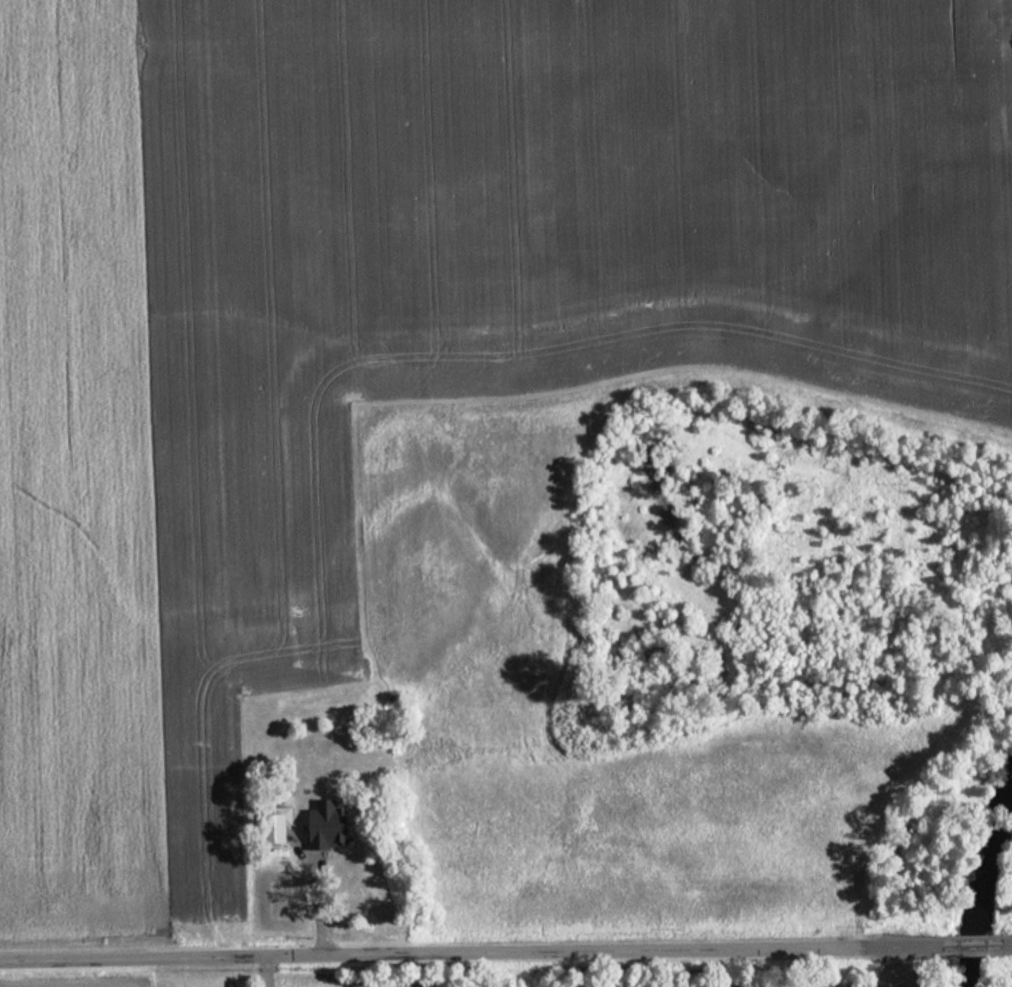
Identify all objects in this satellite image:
building: (327, 826)
road: (313, 898)
road: (505, 950)
road: (262, 971)

